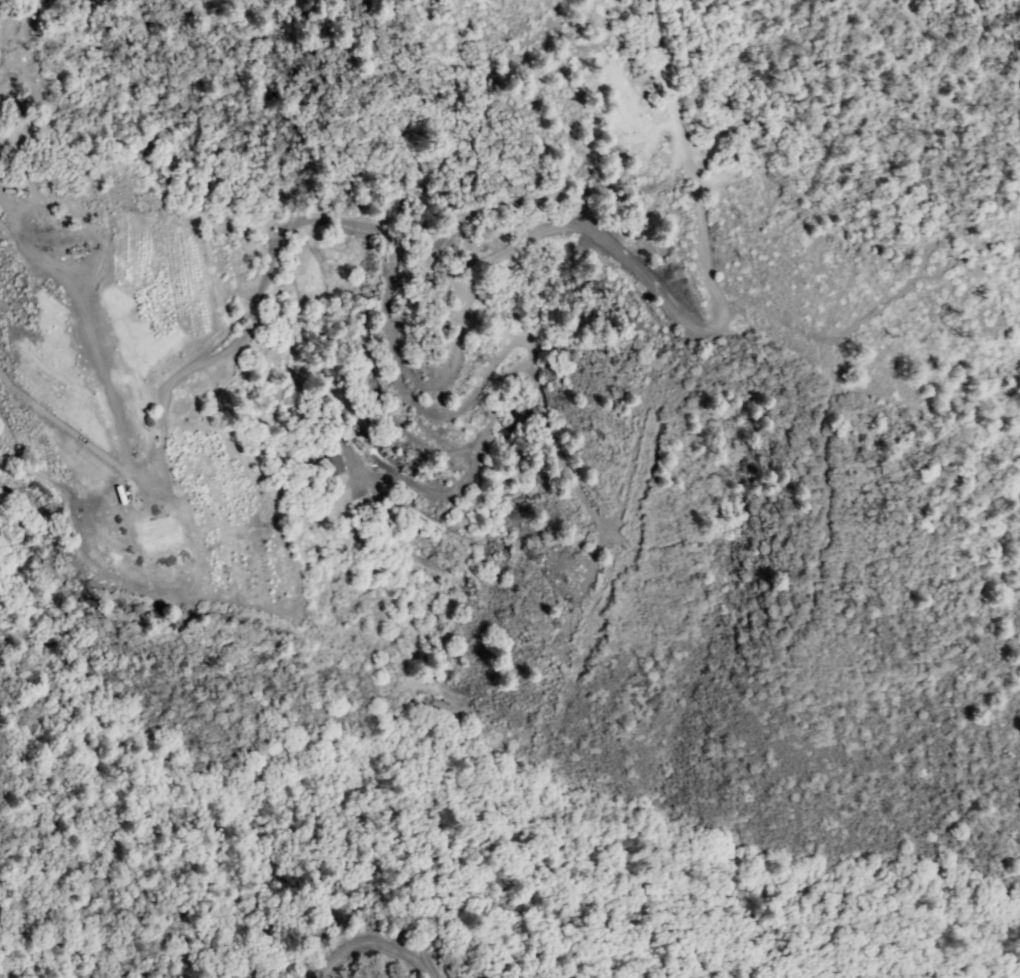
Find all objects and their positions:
building: (150, 422)
building: (332, 447)
building: (335, 466)

